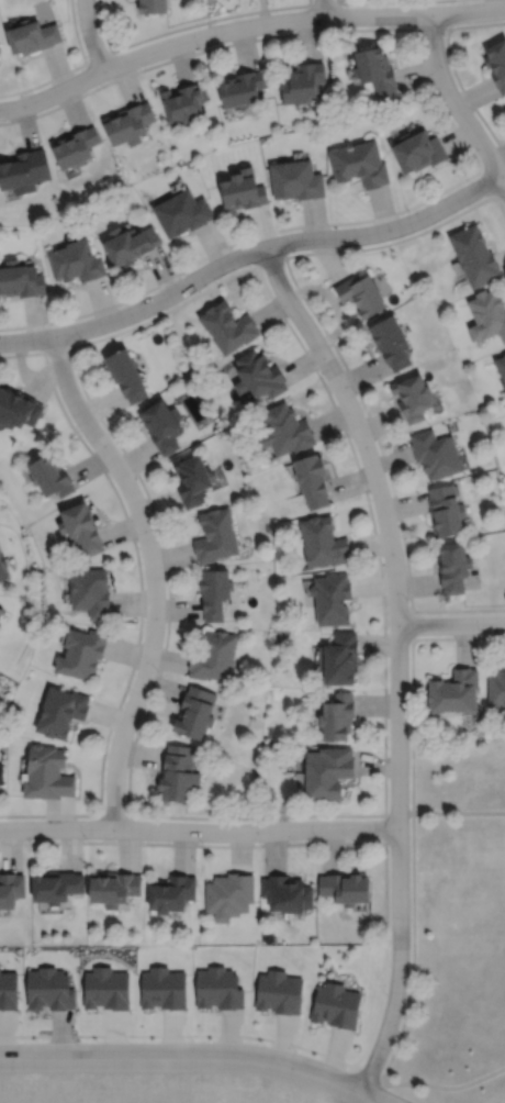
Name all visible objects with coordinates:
building: (151, 5)
road: (323, 8)
road: (211, 20)
road: (245, 26)
building: (32, 34)
road: (90, 35)
road: (246, 41)
building: (496, 60)
building: (377, 68)
building: (303, 81)
building: (243, 87)
road: (467, 94)
building: (184, 101)
road: (454, 103)
building: (128, 122)
road: (452, 124)
building: (76, 146)
building: (420, 148)
building: (360, 163)
building: (24, 170)
building: (296, 179)
building: (244, 189)
building: (182, 211)
road: (237, 241)
building: (130, 243)
road: (248, 253)
building: (474, 254)
building: (76, 260)
road: (245, 268)
building: (21, 279)
building: (362, 293)
building: (486, 313)
building: (228, 326)
building: (393, 342)
building: (501, 367)
building: (126, 375)
building: (260, 375)
building: (413, 397)
building: (18, 409)
building: (162, 425)
building: (285, 430)
road: (374, 432)
building: (435, 454)
building: (50, 477)
building: (193, 479)
building: (314, 480)
building: (445, 510)
building: (81, 528)
building: (216, 536)
building: (325, 543)
building: (3, 565)
building: (452, 567)
road: (167, 572)
road: (154, 573)
road: (139, 575)
building: (90, 592)
building: (215, 593)
building: (333, 599)
road: (458, 609)
building: (2, 611)
road: (451, 623)
building: (1, 625)
road: (458, 636)
building: (81, 654)
road: (384, 655)
building: (214, 657)
road: (399, 659)
building: (341, 660)
building: (496, 690)
building: (453, 692)
building: (60, 711)
building: (195, 712)
building: (339, 716)
road: (412, 717)
street lamp: (386, 746)
building: (328, 769)
building: (46, 771)
building: (178, 771)
building: (0, 772)
road: (458, 812)
road: (205, 816)
road: (199, 831)
street lamp: (316, 839)
road: (192, 844)
street lamp: (388, 851)
building: (56, 884)
building: (113, 885)
building: (347, 885)
building: (10, 887)
building: (172, 891)
building: (288, 892)
building: (228, 893)
park: (453, 926)
road: (413, 948)
building: (162, 987)
building: (105, 988)
building: (218, 988)
building: (49, 989)
building: (279, 991)
street lamp: (384, 992)
building: (336, 1004)
road: (195, 1033)
road: (182, 1057)
road: (446, 1088)
road: (380, 1092)
road: (352, 1098)
road: (360, 1098)
road: (370, 1098)

